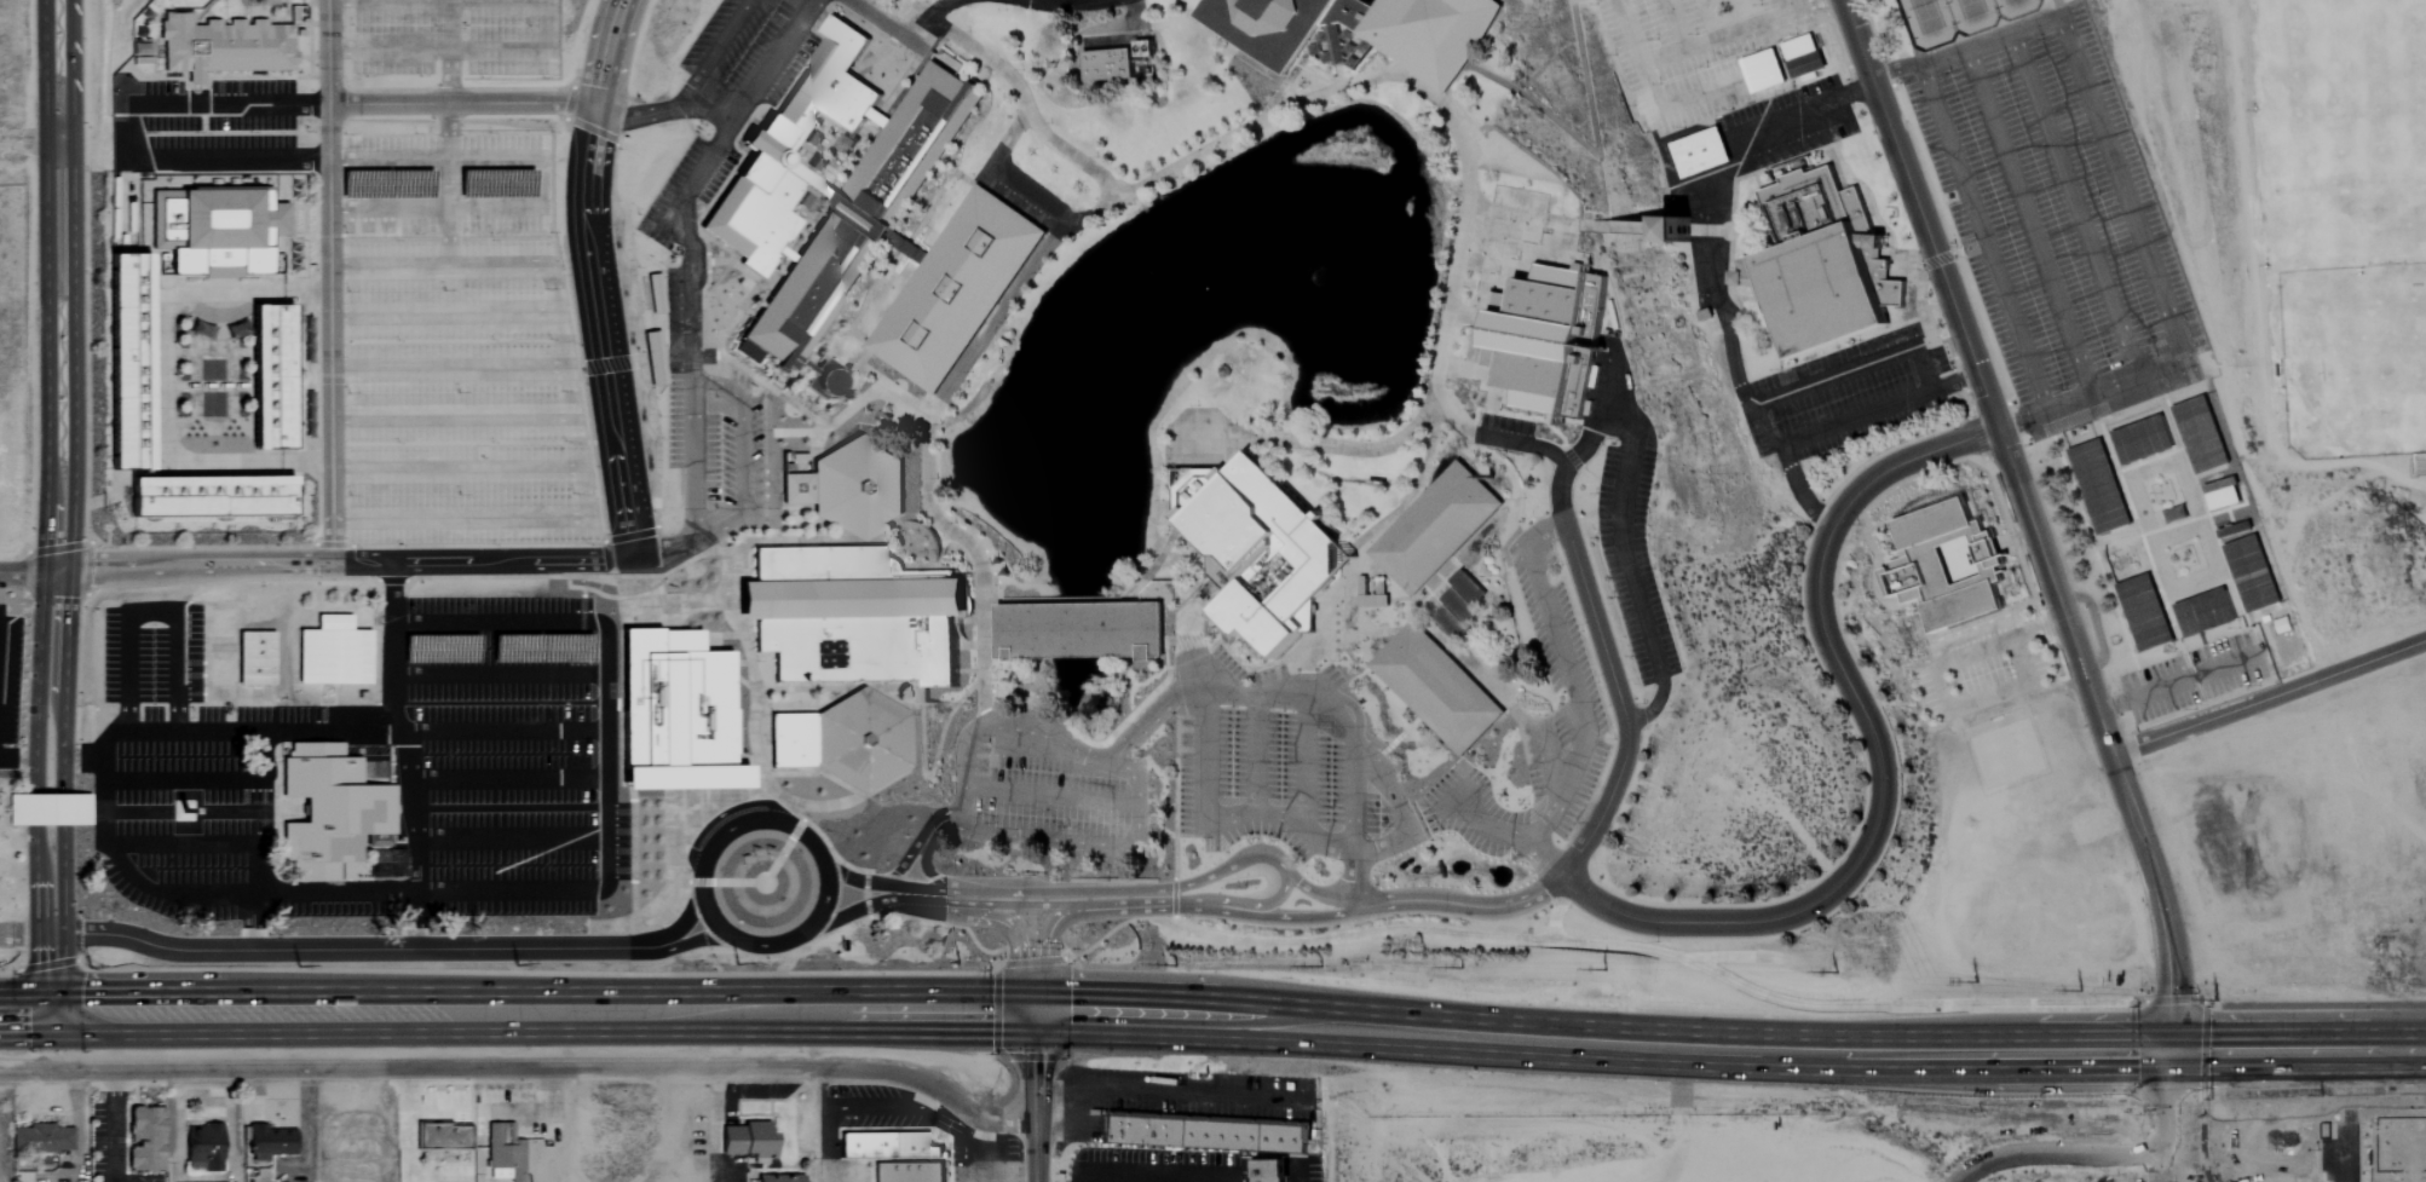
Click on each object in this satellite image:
road: (1066, 2)
road: (438, 4)
road: (1134, 11)
road: (881, 12)
park: (1958, 18)
road: (450, 23)
road: (553, 23)
building: (1270, 25)
road: (911, 31)
road: (903, 34)
building: (1429, 34)
parking lot: (454, 35)
building: (1339, 35)
building: (225, 45)
road: (1976, 47)
road: (439, 48)
building: (140, 50)
road: (609, 51)
road: (325, 52)
road: (713, 52)
parking lot: (1688, 54)
building: (1803, 56)
road: (770, 58)
building: (1117, 62)
building: (1763, 70)
road: (980, 74)
road: (450, 75)
road: (1341, 76)
road: (461, 103)
road: (1804, 108)
road: (661, 111)
road: (1031, 116)
road: (128, 132)
parking lot: (715, 138)
road: (29, 140)
building: (770, 146)
road: (999, 148)
road: (1595, 151)
building: (1700, 151)
road: (1465, 157)
road: (432, 160)
road: (537, 184)
road: (445, 185)
road: (2074, 206)
road: (432, 211)
road: (1920, 212)
parking lot: (2053, 212)
road: (1563, 223)
road: (2027, 223)
building: (859, 225)
park: (2343, 226)
building: (1673, 229)
road: (1730, 229)
building: (214, 231)
road: (1980, 237)
road: (906, 241)
road: (685, 249)
building: (1820, 264)
fountain: (1314, 276)
road: (2157, 281)
road: (57, 283)
fountain: (1206, 287)
building: (955, 288)
building: (655, 294)
road: (1009, 298)
road: (440, 312)
road: (329, 331)
road: (600, 331)
road: (857, 334)
building: (1545, 338)
parking lot: (456, 346)
building: (653, 359)
building: (128, 364)
road: (445, 369)
road: (864, 370)
road: (1837, 374)
building: (271, 380)
road: (760, 381)
road: (1615, 382)
parking lot: (1849, 394)
road: (567, 405)
road: (852, 405)
road: (449, 415)
road: (894, 415)
road: (1535, 419)
road: (1774, 422)
road: (1233, 433)
building: (2200, 434)
parking lot: (719, 436)
road: (741, 437)
building: (2142, 439)
road: (1584, 443)
road: (814, 444)
road: (1525, 444)
road: (1494, 456)
road: (692, 462)
road: (453, 471)
building: (2099, 486)
building: (796, 488)
building: (858, 488)
building: (2222, 495)
building: (211, 498)
road: (1510, 503)
building: (1434, 527)
road: (745, 542)
road: (690, 544)
road: (941, 547)
building: (1260, 548)
road: (978, 557)
road: (483, 559)
parking lot: (1632, 560)
road: (634, 563)
road: (194, 564)
road: (1453, 564)
building: (1943, 565)
road: (1627, 566)
road: (28, 569)
road: (1379, 572)
building: (2251, 573)
road: (1442, 581)
building: (1361, 584)
building: (1466, 586)
road: (1434, 587)
road: (1431, 595)
road: (728, 600)
road: (1056, 600)
building: (1372, 600)
building: (1458, 605)
road: (150, 611)
building: (2203, 611)
building: (2144, 612)
parking lot: (1551, 613)
building: (851, 617)
building: (1448, 622)
building: (1079, 627)
road: (1398, 629)
parking lot: (499, 647)
building: (333, 652)
road: (761, 656)
road: (1458, 656)
road: (2021, 656)
road: (1936, 663)
parking lot: (1977, 667)
road: (497, 673)
road: (1359, 674)
road: (1569, 679)
road: (874, 687)
road: (1154, 688)
building: (1435, 688)
road: (1004, 693)
road: (1304, 694)
road: (2269, 697)
road: (1620, 698)
road: (1402, 699)
road: (839, 705)
road: (1652, 708)
road: (604, 717)
road: (261, 728)
road: (1001, 730)
road: (507, 731)
road: (2104, 733)
road: (1439, 736)
building: (845, 740)
road: (763, 748)
road: (1878, 751)
road: (1254, 753)
road: (27, 756)
parking lot: (1262, 756)
road: (410, 760)
road: (1304, 760)
parking lot: (1564, 760)
road: (1546, 771)
road: (929, 773)
road: (507, 777)
road: (208, 778)
road: (52, 791)
road: (1049, 796)
parking lot: (1042, 797)
road: (1450, 800)
parking lot: (507, 801)
road: (513, 808)
building: (47, 811)
road: (155, 811)
building: (329, 813)
road: (1400, 813)
road: (1215, 823)
road: (1508, 834)
road: (508, 838)
road: (916, 841)
road: (202, 842)
road: (1087, 844)
road: (922, 861)
road: (411, 878)
road: (1447, 880)
road: (1110, 890)
road: (203, 893)
road: (1278, 899)
road: (978, 903)
road: (1125, 906)
road: (1475, 906)
road: (1558, 906)
road: (707, 907)
road: (840, 916)
road: (1278, 917)
road: (990, 919)
road: (253, 921)
road: (670, 933)
road: (25, 934)
road: (676, 944)
road: (1670, 949)
road: (338, 950)
road: (1047, 953)
road: (2299, 1001)
traffic signals: (1035, 1011)
road: (1112, 1015)
road: (25, 1016)
traffic signals: (52, 1016)
traffic signals: (2173, 1049)
road: (2299, 1049)
road: (524, 1071)
road: (1059, 1088)
road: (1197, 1094)
road: (1035, 1096)
road: (859, 1111)
road: (1084, 1111)
road: (408, 1126)
road: (114, 1128)
road: (1059, 1131)
building: (1206, 1135)
building: (442, 1137)
building: (41, 1138)
building: (144, 1138)
building: (748, 1141)
building: (269, 1143)
building: (887, 1146)
building: (202, 1147)
building: (503, 1151)
road: (981, 1151)
road: (2109, 1155)
building: (1270, 1170)
building: (907, 1172)
building: (779, 1178)
road: (1171, 1180)

